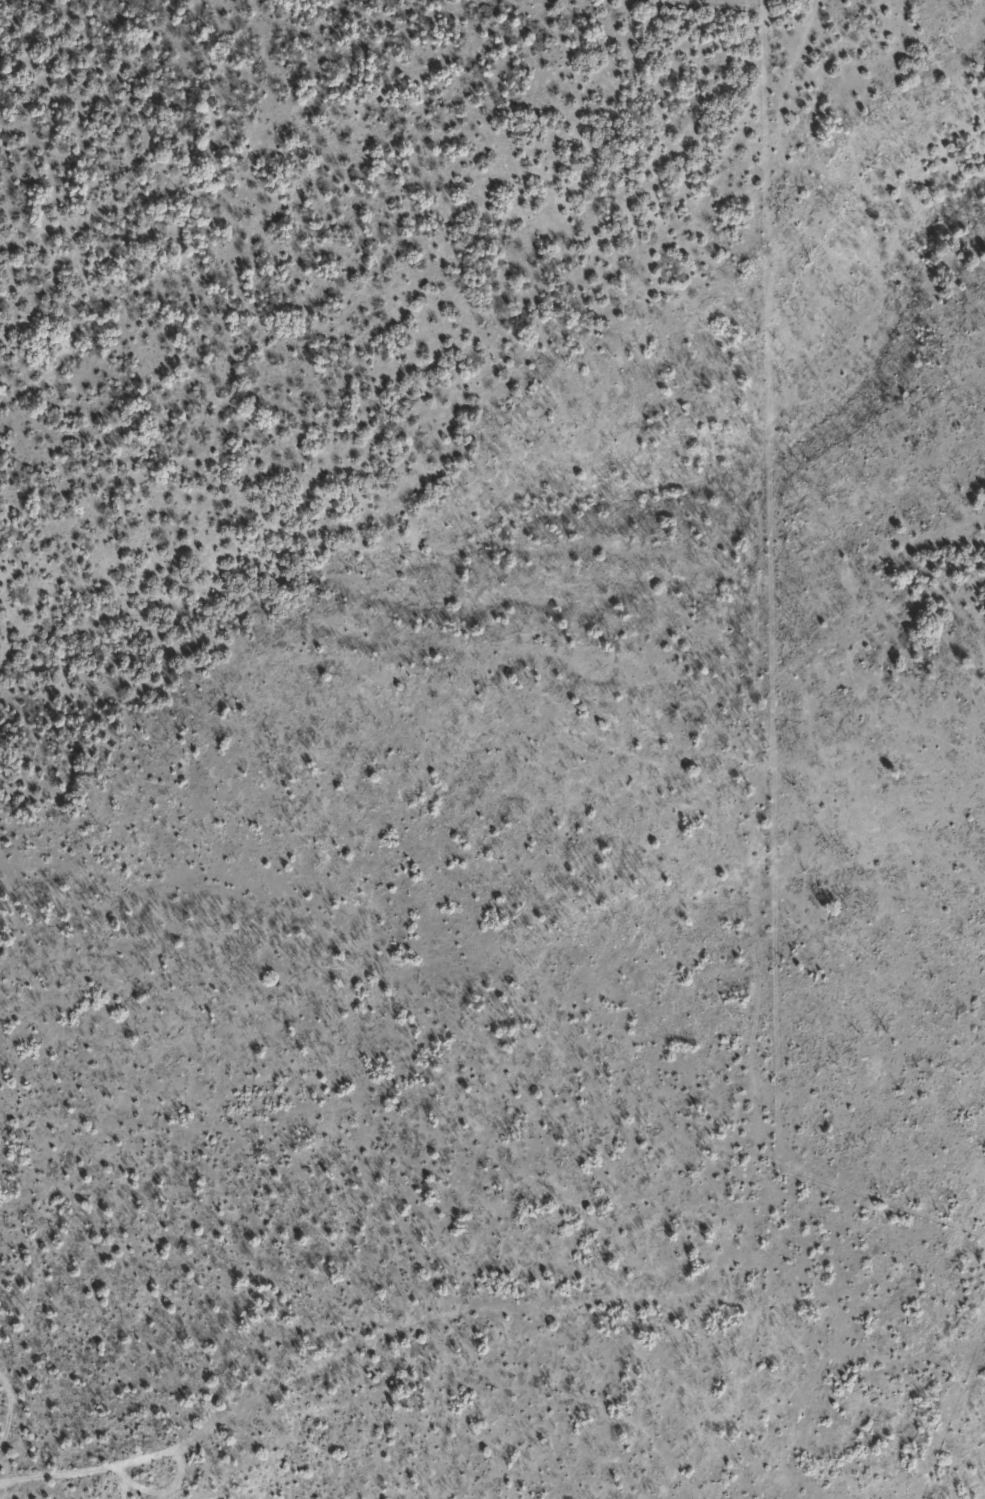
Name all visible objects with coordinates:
road: (480, 1356)
road: (32, 1438)

